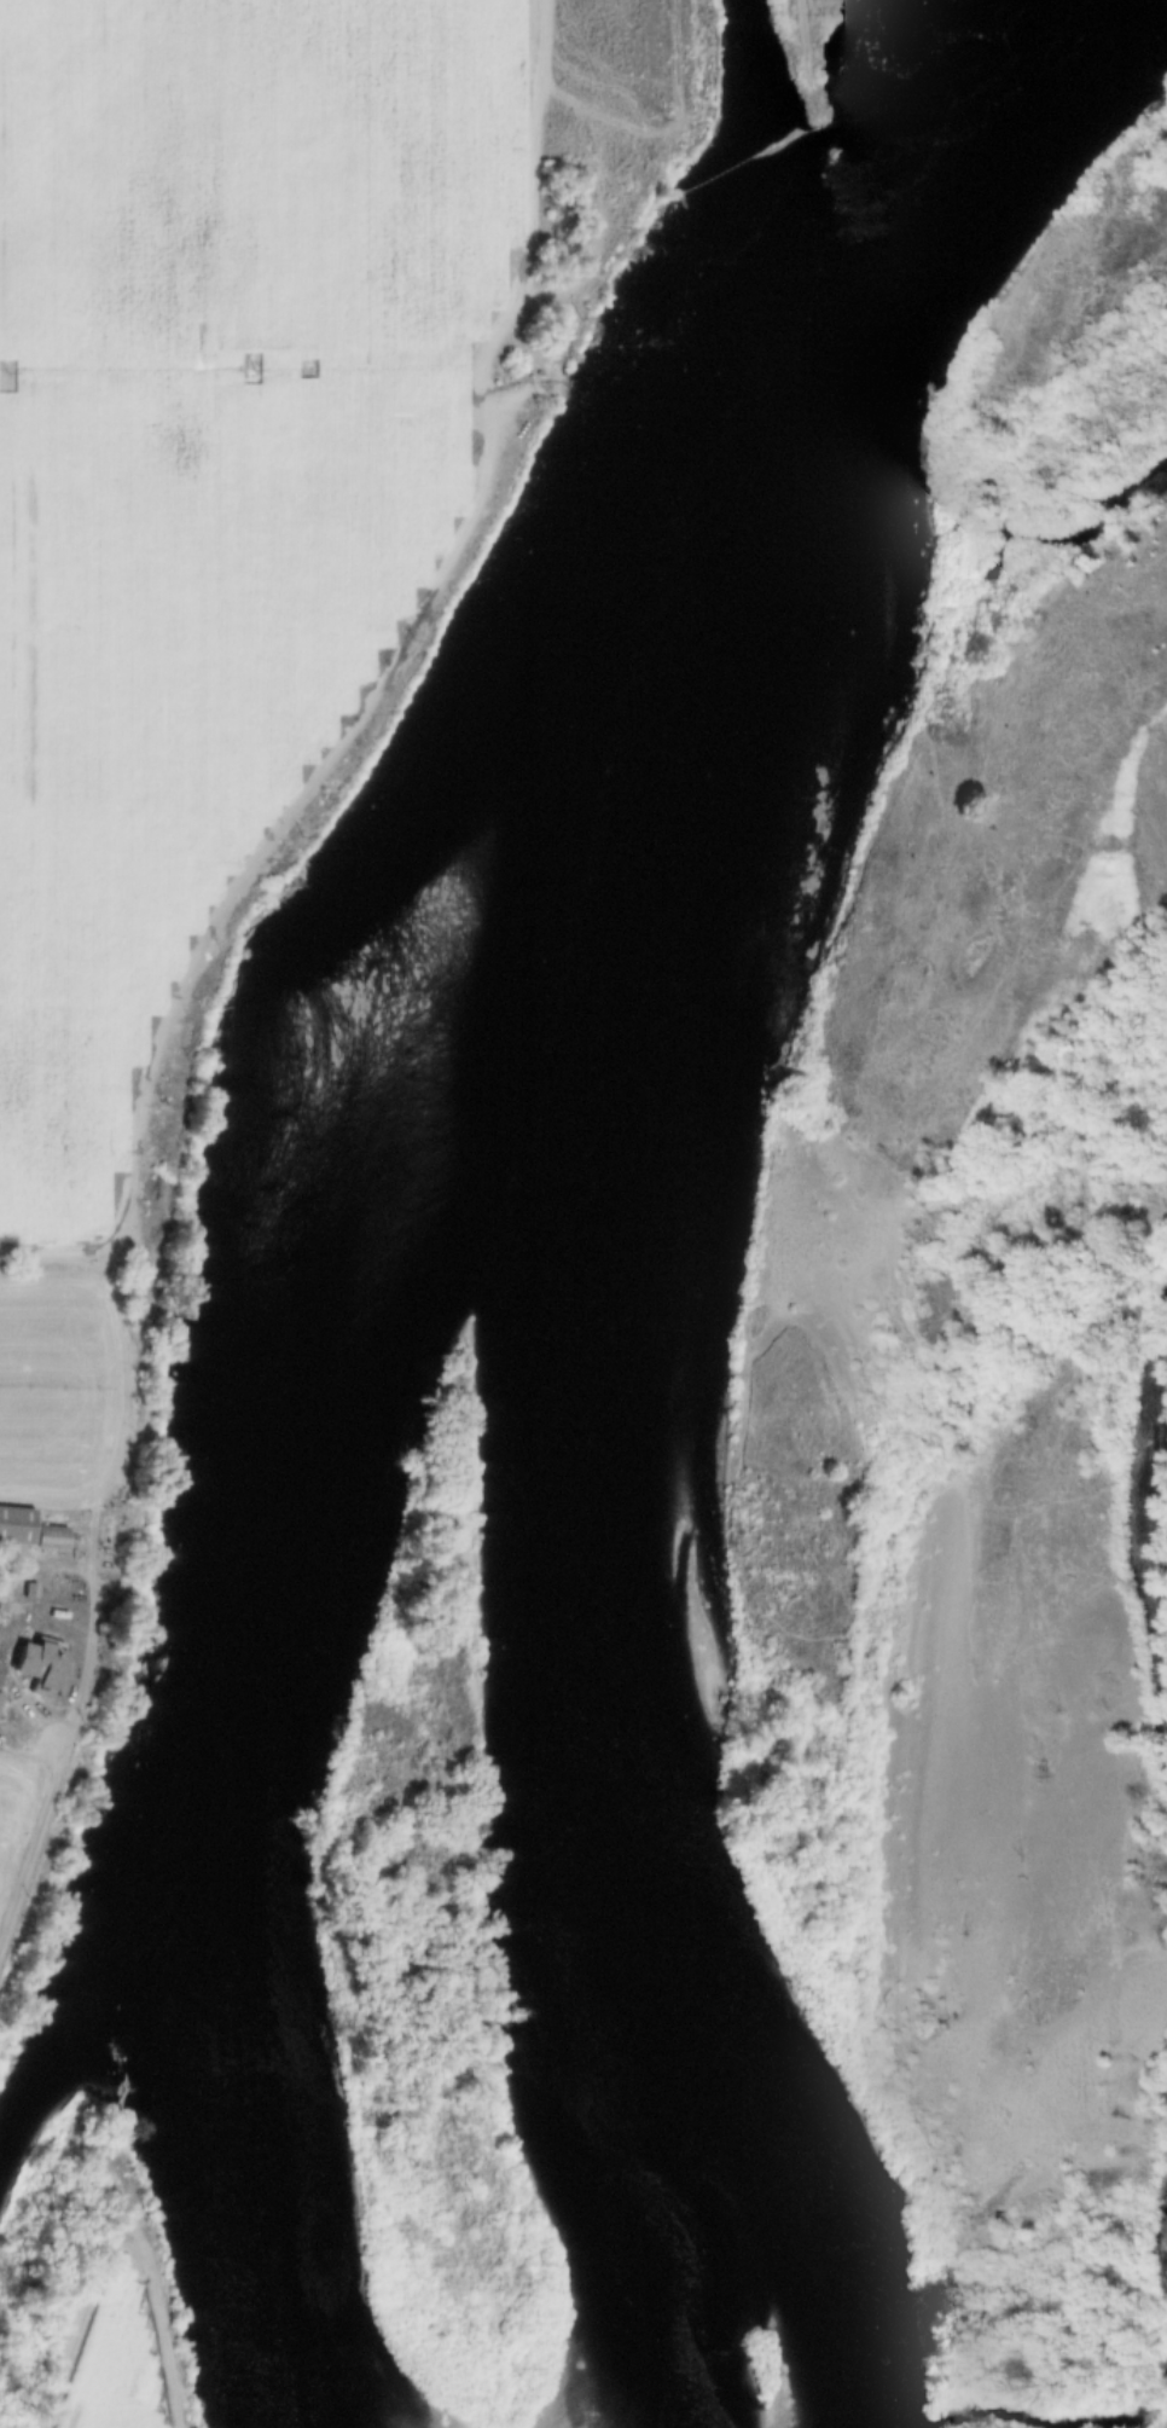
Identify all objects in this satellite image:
river: (608, 1160)
building: (16, 1526)
building: (50, 1538)
road: (89, 1634)
building: (39, 1668)
building: (0, 1697)
road: (33, 1844)

